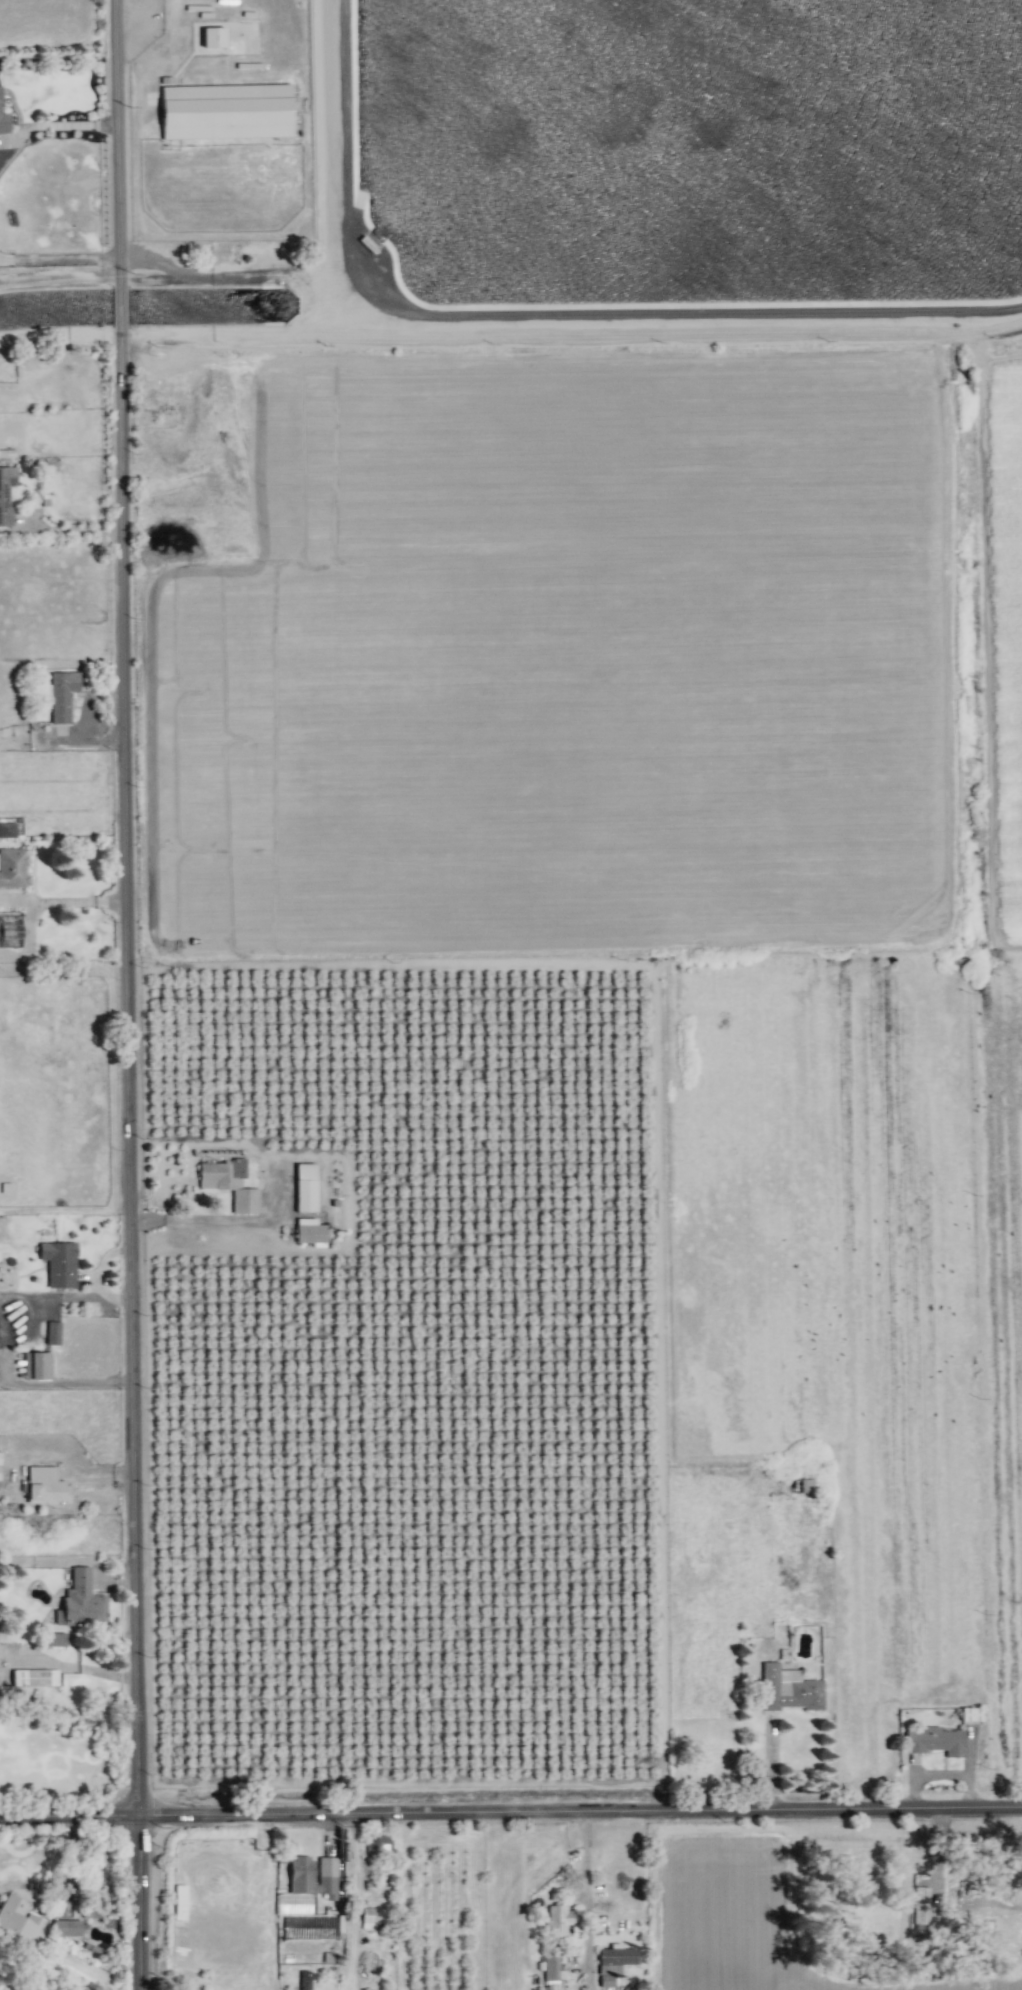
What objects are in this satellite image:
road: (137, 18)
building: (212, 37)
building: (225, 111)
building: (3, 122)
road: (49, 125)
road: (58, 258)
road: (569, 335)
building: (6, 493)
road: (73, 527)
building: (62, 695)
building: (7, 829)
building: (13, 867)
building: (16, 922)
road: (128, 995)
building: (305, 1187)
road: (223, 1220)
building: (309, 1231)
building: (59, 1263)
building: (53, 1333)
building: (37, 1365)
building: (46, 1486)
building: (81, 1602)
building: (55, 1639)
building: (34, 1677)
building: (788, 1689)
building: (969, 1713)
building: (935, 1741)
road: (511, 1814)
building: (376, 1842)
building: (300, 1869)
building: (179, 1901)
road: (356, 1902)
road: (586, 1902)
road: (982, 1903)
building: (293, 1904)
building: (920, 1905)
building: (371, 1918)
building: (559, 1920)
building: (19, 1921)
building: (66, 1927)
building: (614, 1962)
building: (551, 1973)
building: (305, 1980)

